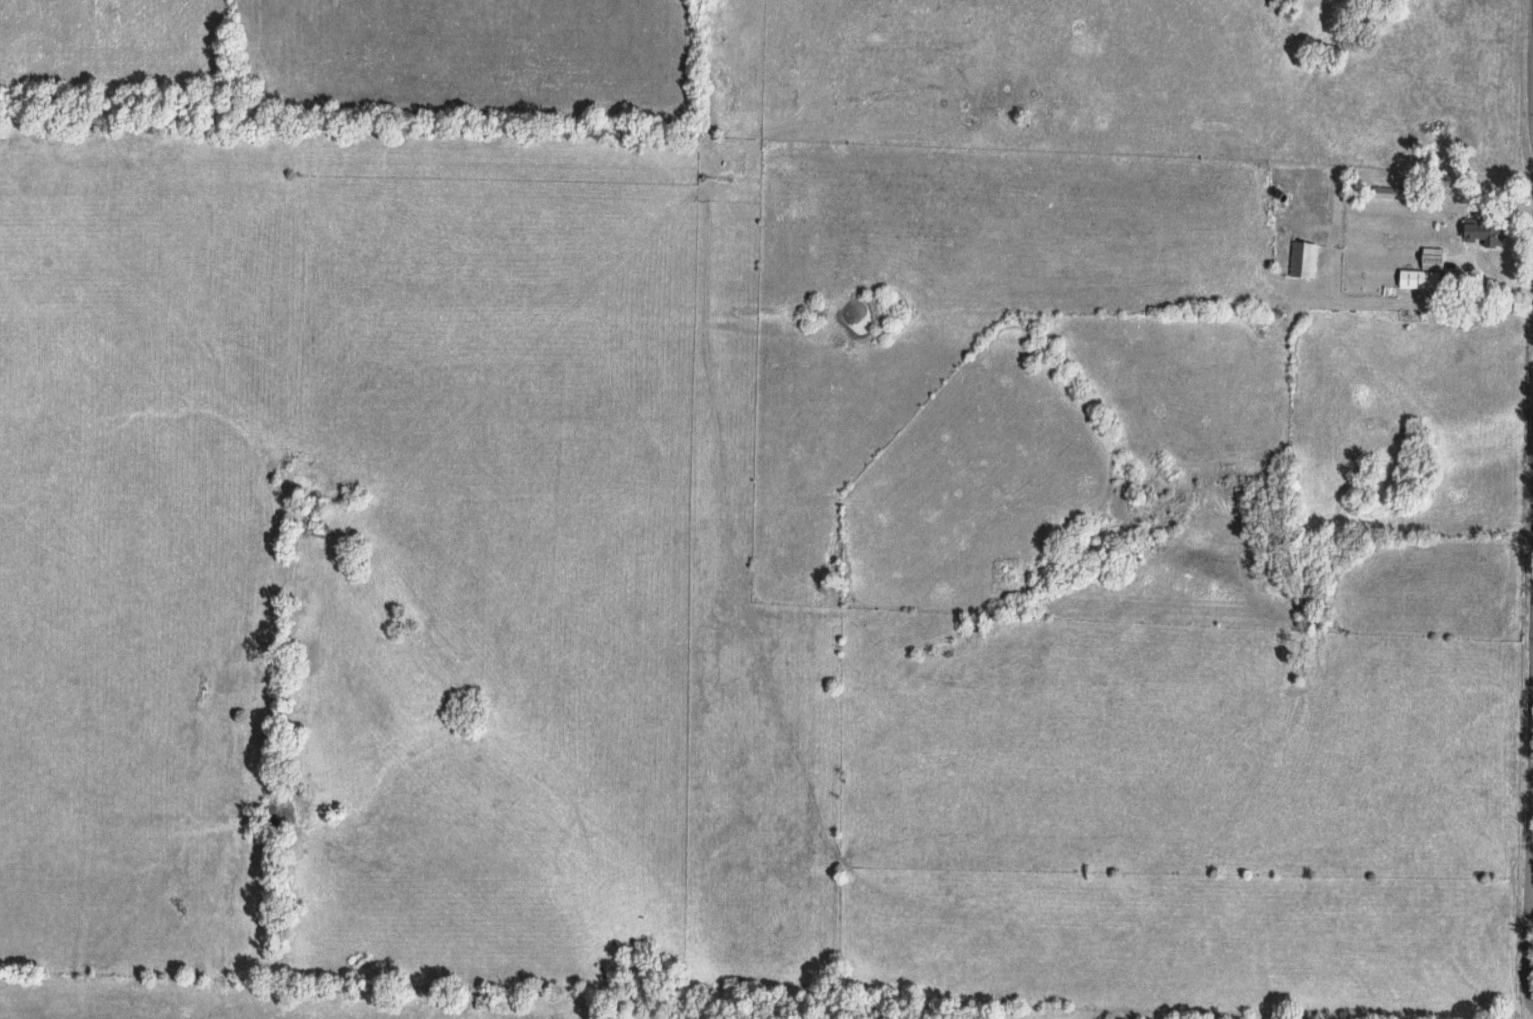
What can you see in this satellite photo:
building: (1481, 230)
building: (1300, 258)
building: (1421, 270)
road: (1529, 909)

